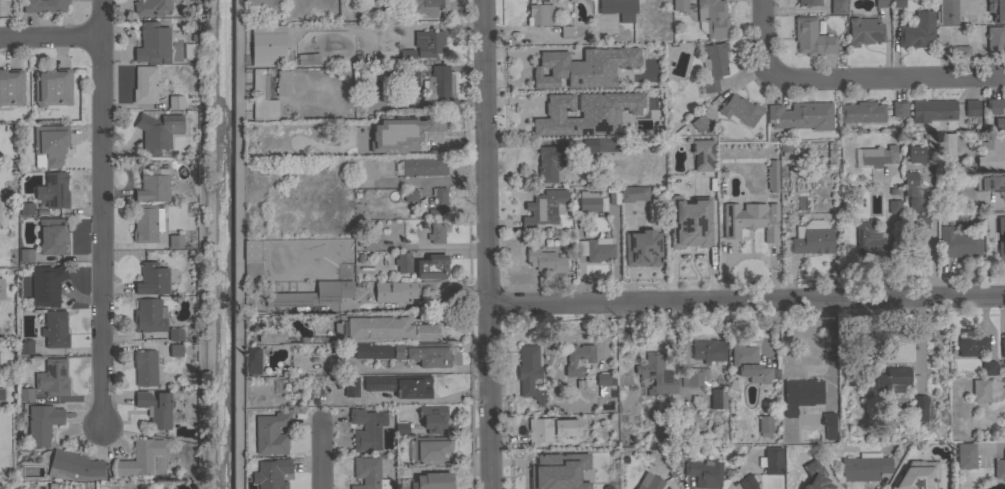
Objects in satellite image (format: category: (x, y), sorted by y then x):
building: (809, 2)
building: (881, 3)
building: (897, 3)
building: (44, 5)
building: (679, 5)
building: (425, 6)
building: (838, 6)
building: (150, 7)
building: (268, 8)
building: (619, 8)
building: (997, 10)
building: (947, 11)
building: (540, 13)
building: (972, 16)
building: (713, 17)
building: (918, 30)
building: (566, 31)
building: (864, 31)
road: (546, 33)
road: (763, 36)
building: (811, 37)
road: (50, 38)
building: (995, 39)
building: (428, 42)
building: (153, 43)
building: (266, 45)
building: (189, 50)
building: (959, 52)
building: (407, 56)
building: (553, 58)
building: (304, 60)
building: (526, 62)
building: (713, 66)
building: (590, 76)
building: (393, 78)
road: (886, 78)
building: (283, 82)
building: (439, 82)
building: (145, 84)
building: (52, 87)
building: (11, 88)
building: (550, 89)
building: (262, 97)
building: (175, 102)
road: (424, 103)
building: (994, 105)
building: (971, 107)
building: (899, 108)
building: (739, 110)
building: (933, 110)
building: (862, 112)
building: (601, 115)
building: (801, 115)
building: (547, 120)
building: (699, 121)
building: (999, 122)
building: (157, 131)
building: (442, 136)
building: (929, 138)
building: (385, 142)
building: (603, 144)
building: (945, 144)
building: (50, 145)
building: (916, 153)
building: (702, 154)
building: (327, 155)
building: (874, 156)
building: (991, 156)
building: (549, 162)
building: (424, 166)
building: (365, 169)
building: (772, 176)
building: (909, 181)
building: (990, 183)
building: (153, 185)
building: (53, 190)
building: (611, 193)
building: (633, 193)
building: (410, 194)
building: (893, 194)
building: (589, 201)
building: (439, 203)
building: (952, 205)
building: (895, 206)
building: (26, 208)
building: (543, 209)
road: (100, 212)
building: (917, 213)
building: (750, 219)
building: (689, 221)
building: (146, 223)
building: (435, 232)
building: (868, 235)
building: (54, 236)
road: (887, 236)
building: (999, 237)
building: (175, 241)
building: (813, 241)
building: (959, 241)
building: (370, 242)
road: (200, 244)
road: (487, 244)
building: (595, 248)
building: (642, 248)
building: (26, 254)
building: (251, 258)
building: (545, 260)
building: (403, 262)
building: (432, 266)
building: (152, 279)
building: (48, 286)
building: (1, 288)
building: (398, 291)
building: (312, 294)
road: (746, 299)
building: (148, 315)
building: (382, 327)
building: (55, 329)
building: (175, 333)
building: (269, 335)
building: (313, 339)
building: (971, 344)
building: (1003, 345)
building: (26, 346)
building: (708, 350)
building: (176, 351)
building: (407, 352)
building: (252, 360)
building: (572, 360)
building: (750, 364)
building: (1003, 366)
building: (145, 367)
building: (988, 367)
building: (529, 371)
building: (656, 373)
building: (695, 376)
building: (53, 377)
building: (894, 378)
building: (603, 379)
building: (401, 385)
building: (278, 386)
building: (351, 386)
building: (980, 390)
building: (1, 393)
building: (26, 394)
building: (801, 394)
building: (717, 398)
building: (1004, 405)
building: (155, 408)
building: (920, 408)
building: (683, 415)
building: (433, 417)
building: (42, 423)
building: (828, 424)
building: (765, 425)
building: (402, 427)
building: (367, 428)
building: (550, 428)
building: (271, 432)
building: (431, 450)
road: (319, 455)
building: (603, 455)
building: (965, 455)
building: (143, 458)
building: (772, 460)
building: (74, 466)
building: (865, 466)
building: (999, 467)
building: (271, 473)
building: (368, 473)
building: (704, 473)
building: (571, 475)
building: (917, 476)
building: (813, 479)
building: (432, 481)
building: (748, 482)
building: (651, 483)
building: (612, 484)

